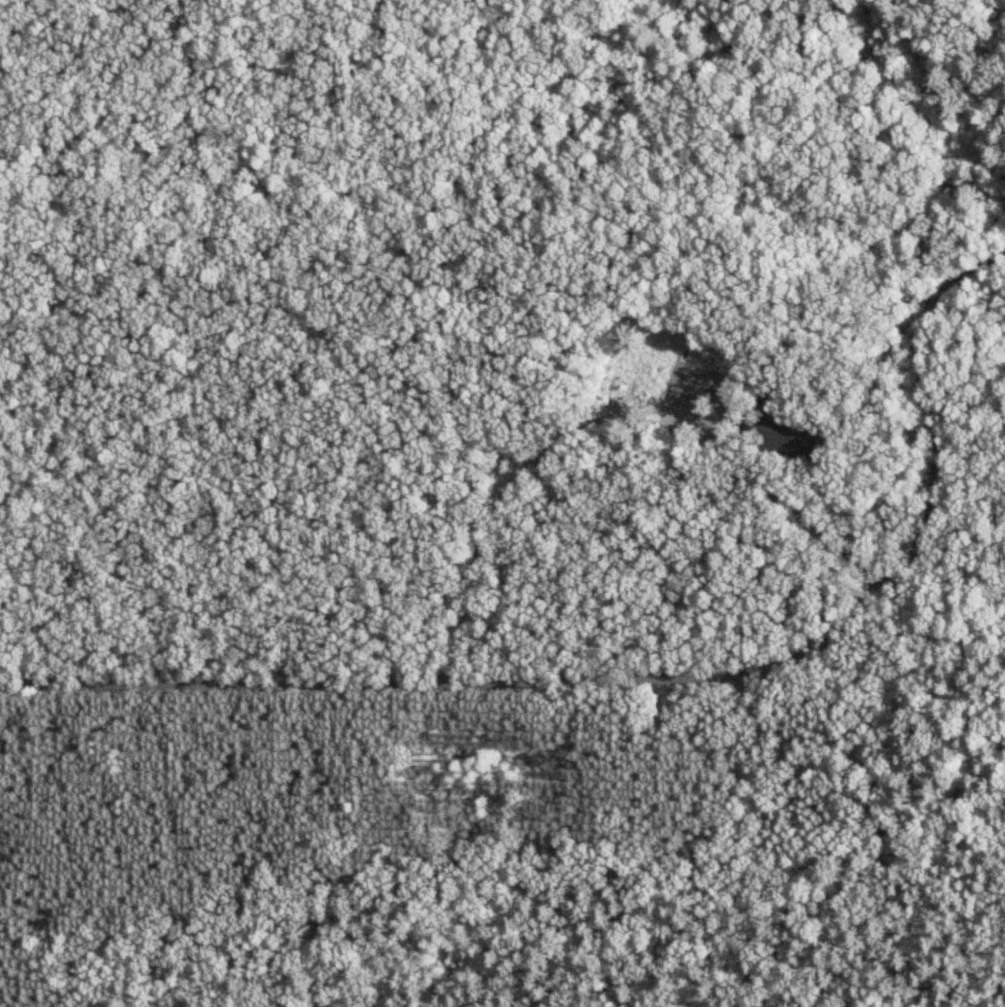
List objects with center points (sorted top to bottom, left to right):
road: (834, 289)
road: (394, 298)
parking lot: (684, 398)
road: (606, 419)
building: (780, 426)
road: (660, 675)
road: (844, 791)
road: (423, 863)
road: (892, 919)

